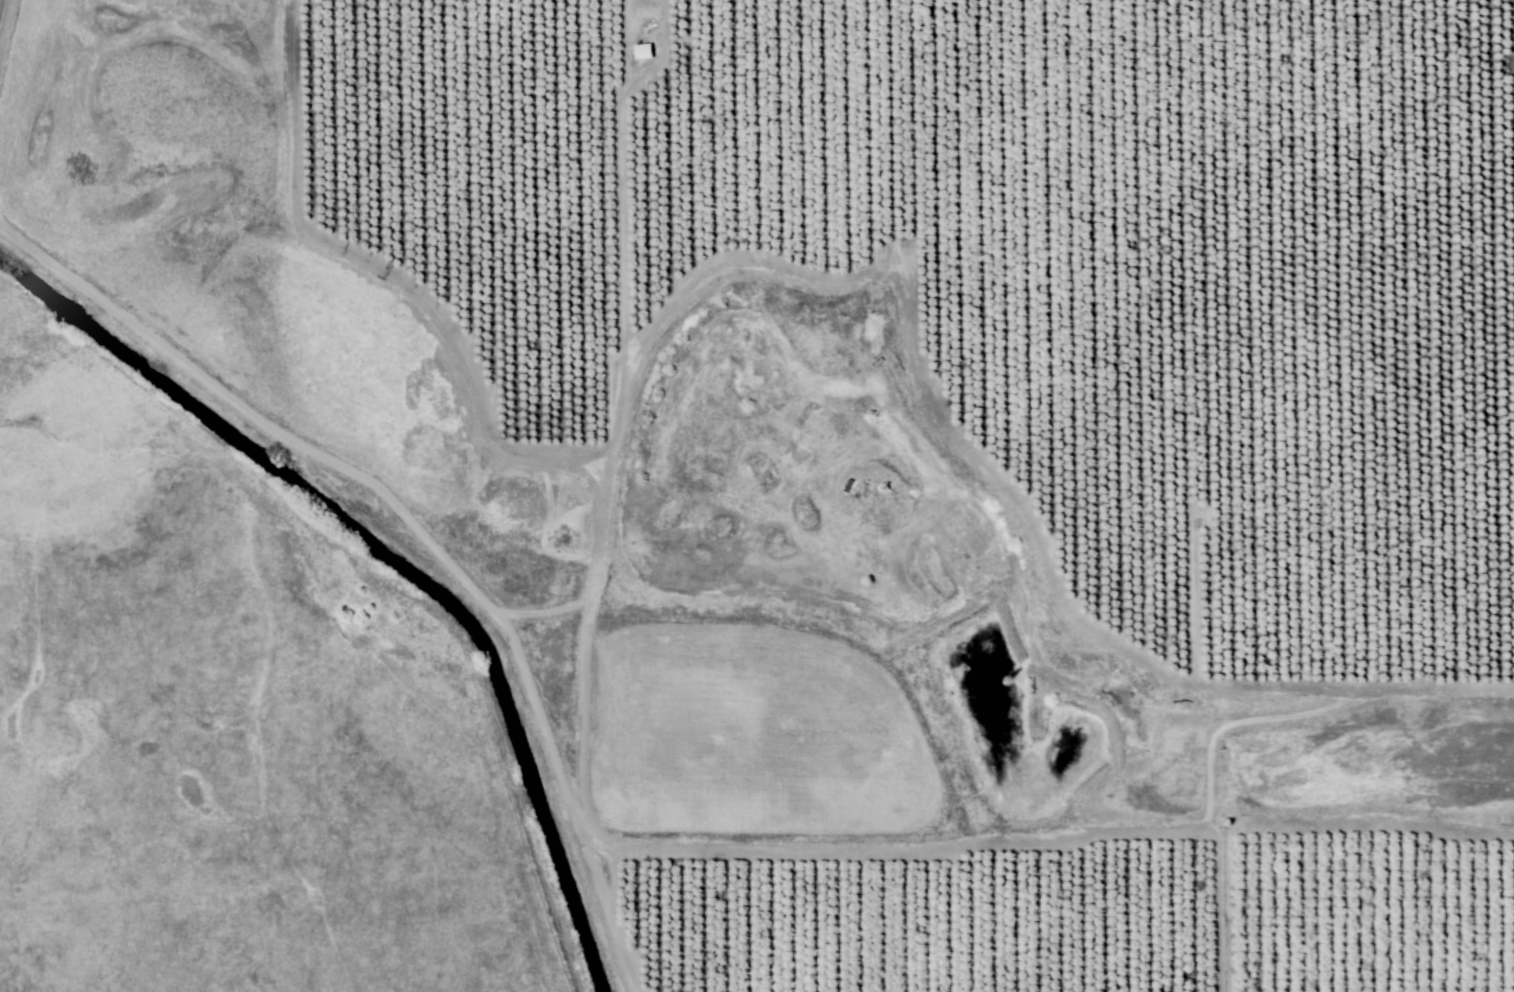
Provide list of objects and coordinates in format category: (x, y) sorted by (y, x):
crop: (1262, 513)

